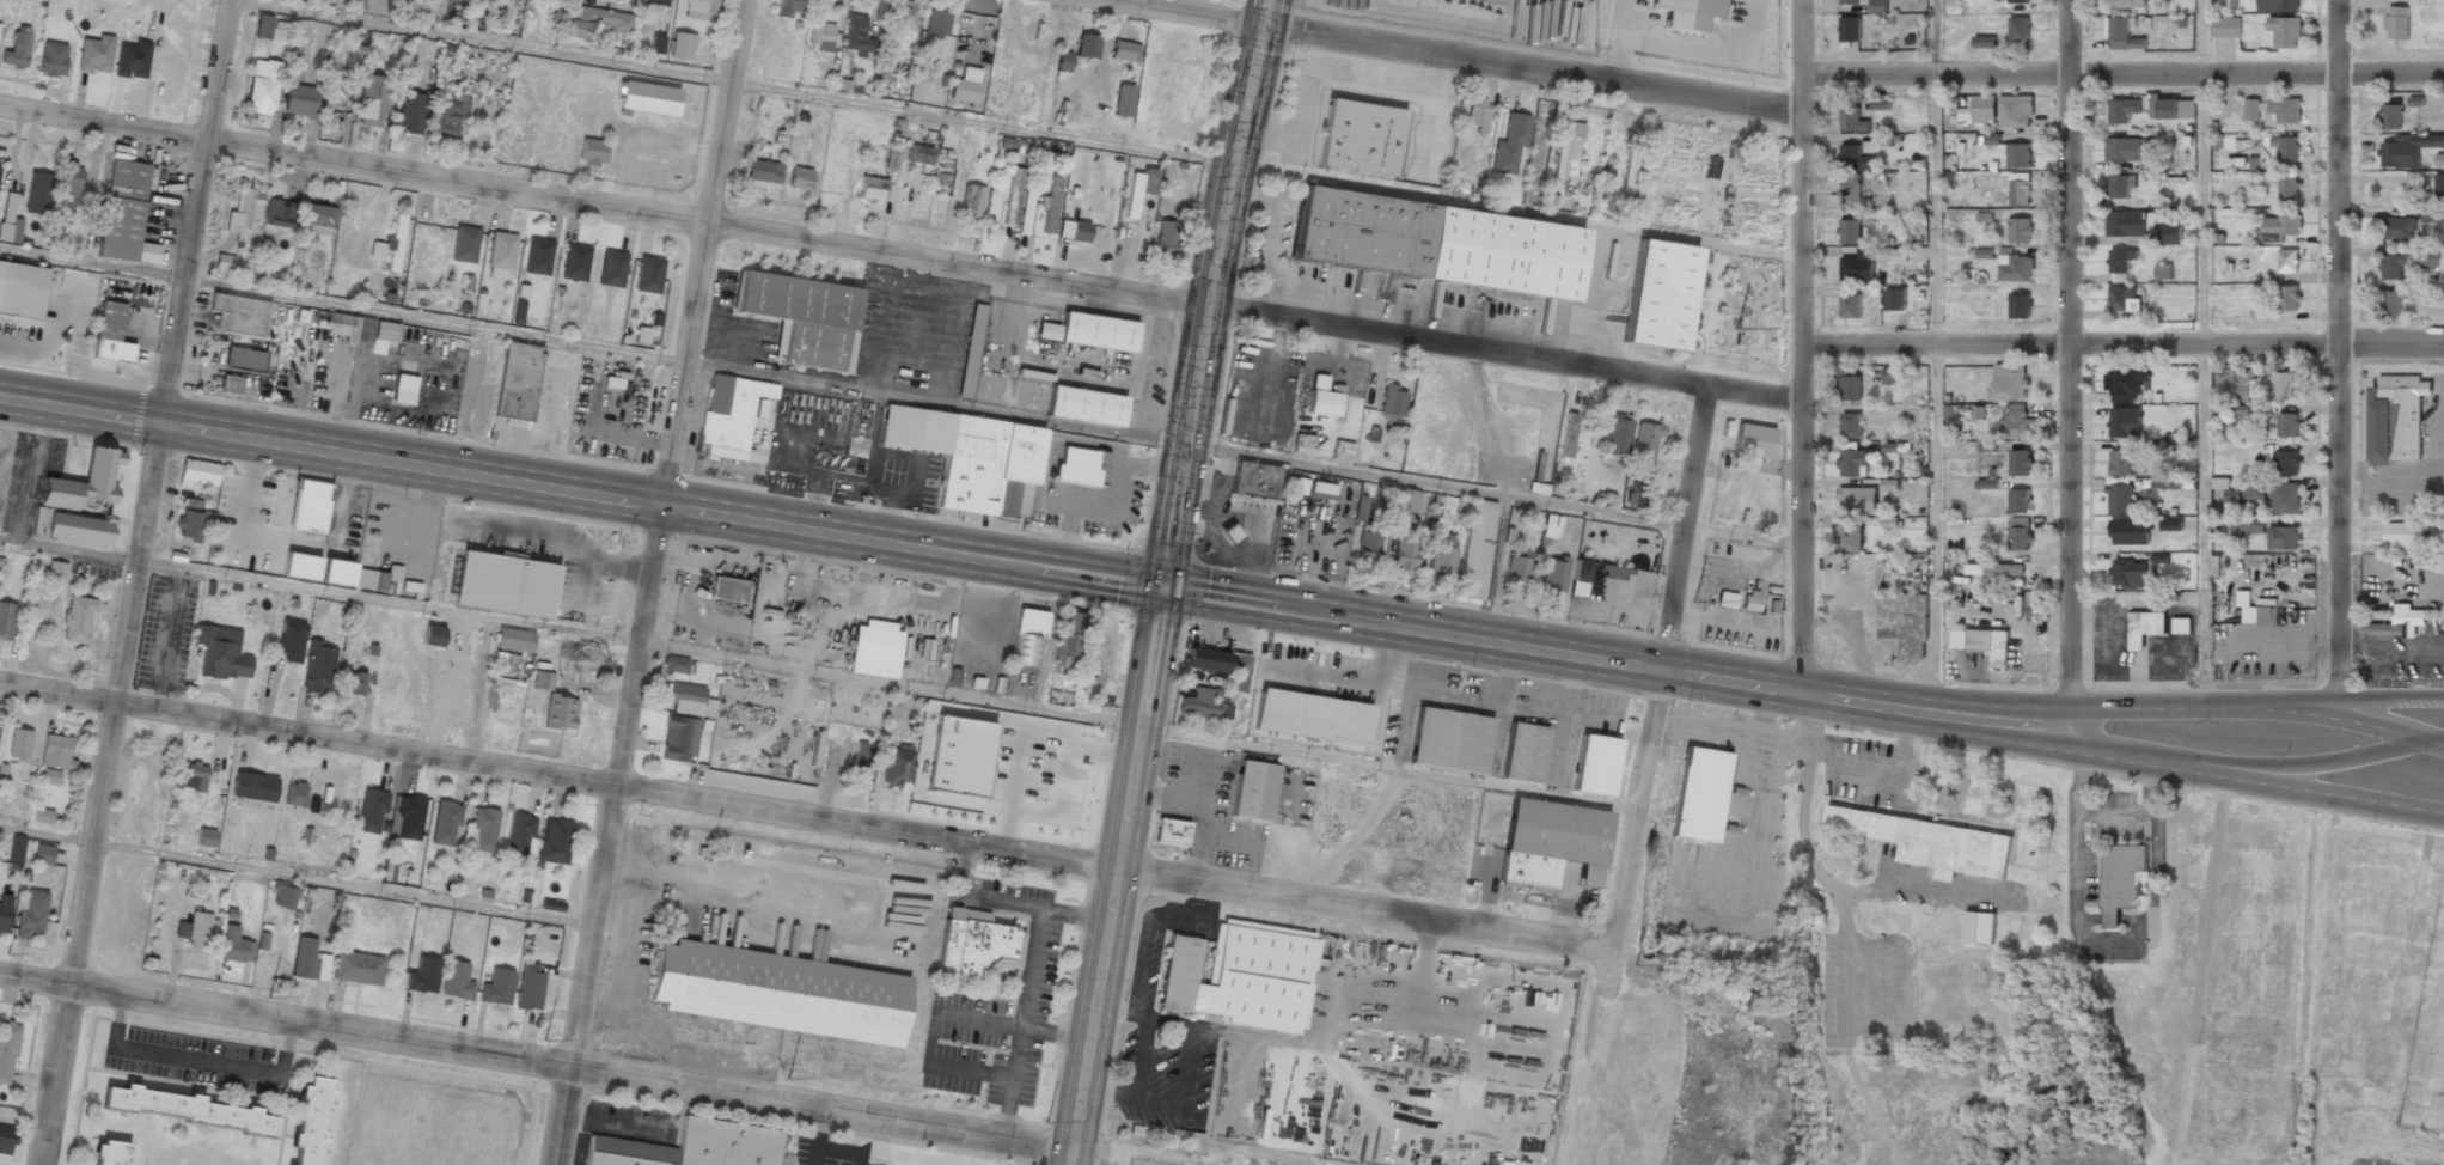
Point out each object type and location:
building: (470, 0)
building: (1850, 1)
building: (2018, 1)
building: (655, 2)
park: (1224, 2)
building: (2125, 4)
building: (2275, 5)
building: (1877, 6)
building: (792, 7)
building: (409, 8)
building: (699, 8)
building: (903, 13)
building: (1686, 14)
building: (593, 22)
building: (936, 23)
building: (2396, 23)
building: (0, 25)
traffic signals: (1263, 25)
building: (263, 26)
building: (2226, 26)
building: (1850, 29)
building: (2018, 30)
building: (2283, 32)
building: (2121, 33)
building: (856, 35)
building: (820, 36)
road: (1935, 37)
road: (2202, 37)
building: (1984, 42)
building: (656, 44)
building: (2018, 44)
building: (682, 45)
building: (1087, 45)
building: (17, 48)
building: (1124, 50)
building: (96, 54)
road: (1455, 56)
building: (53, 59)
building: (1062, 61)
road: (2122, 74)
road: (729, 79)
building: (965, 85)
building: (262, 86)
building: (648, 98)
building: (300, 100)
building: (372, 100)
building: (1122, 100)
building: (1880, 105)
building: (1974, 108)
building: (2173, 109)
building: (2251, 109)
building: (2121, 110)
building: (2284, 110)
building: (410, 111)
building: (2016, 112)
building: (446, 114)
building: (1475, 116)
building: (2390, 117)
building: (1852, 121)
building: (1360, 139)
building: (1508, 140)
building: (2285, 146)
building: (1565, 148)
building: (2407, 150)
building: (592, 151)
building: (2128, 151)
building: (918, 154)
building: (2017, 155)
building: (1853, 158)
building: (891, 159)
building: (762, 171)
building: (799, 178)
building: (69, 179)
building: (2287, 185)
building: (2439, 187)
building: (2119, 188)
building: (870, 189)
building: (1138, 189)
building: (38, 193)
building: (1850, 193)
building: (2018, 194)
building: (1013, 196)
building: (971, 201)
building: (1049, 206)
building: (244, 209)
road: (1937, 209)
road: (2202, 209)
building: (122, 211)
road: (1516, 211)
building: (279, 213)
building: (317, 215)
building: (2432, 215)
building: (10, 220)
building: (2126, 224)
building: (2280, 224)
building: (2397, 230)
building: (1073, 231)
building: (1850, 231)
building: (2020, 231)
building: (2170, 234)
building: (1165, 238)
building: (464, 244)
building: (1434, 244)
building: (390, 245)
building: (501, 255)
building: (538, 256)
road: (900, 256)
building: (2287, 261)
building: (224, 262)
building: (575, 262)
building: (2119, 263)
building: (2405, 263)
building: (1858, 266)
building: (611, 268)
building: (2015, 268)
building: (2163, 270)
building: (648, 275)
building: (22, 291)
building: (1657, 295)
building: (2287, 298)
building: (2121, 299)
building: (1893, 300)
road: (344, 304)
building: (2391, 305)
building: (2018, 306)
building: (1850, 307)
building: (518, 311)
building: (238, 313)
building: (800, 317)
power tower: (1925, 328)
power tower: (2192, 328)
power tower: (1735, 329)
building: (363, 330)
building: (1089, 333)
building: (110, 335)
road: (2122, 344)
road: (1802, 346)
road: (2338, 347)
building: (971, 352)
building: (242, 361)
road: (2070, 374)
building: (1889, 377)
building: (1849, 383)
building: (2009, 383)
building: (2124, 383)
building: (230, 384)
building: (517, 385)
building: (2284, 386)
building: (403, 390)
building: (1320, 397)
building: (1392, 403)
building: (1084, 407)
building: (758, 408)
building: (2403, 413)
building: (729, 415)
building: (2124, 422)
building: (2017, 425)
building: (1850, 426)
building: (2287, 426)
building: (1617, 433)
building: (1566, 435)
building: (1644, 440)
building: (1752, 441)
building: (1302, 444)
building: (1342, 451)
road: (1246, 452)
building: (970, 455)
building: (2020, 462)
building: (1851, 463)
building: (2121, 463)
building: (2285, 463)
building: (1075, 466)
building: (198, 474)
building: (1253, 481)
building: (84, 483)
building: (1987, 484)
building: (1299, 486)
building: (1321, 489)
building: (2255, 489)
building: (1637, 493)
building: (2231, 495)
building: (2121, 498)
building: (2284, 498)
building: (1856, 500)
building: (1406, 501)
building: (2018, 501)
building: (308, 507)
building: (2171, 525)
building: (2247, 525)
building: (188, 526)
building: (1551, 526)
road: (2204, 526)
road: (1936, 529)
building: (77, 531)
building: (1367, 531)
building: (2130, 531)
building: (1228, 533)
building: (2018, 535)
building: (2403, 535)
building: (2283, 537)
building: (1849, 539)
building: (1474, 550)
building: (1404, 553)
building: (1442, 555)
building: (2159, 559)
road: (1007, 562)
building: (300, 566)
building: (1514, 569)
building: (1994, 569)
building: (56, 571)
building: (1580, 571)
building: (337, 573)
building: (393, 573)
building: (2130, 574)
building: (1605, 575)
building: (1552, 577)
building: (369, 579)
road: (1161, 580)
road: (648, 581)
road: (138, 582)
building: (505, 585)
traffic signals: (1161, 587)
building: (726, 590)
power tower: (1692, 602)
building: (1747, 604)
building: (2267, 617)
building: (78, 618)
building: (6, 620)
building: (1905, 623)
building: (2399, 623)
building: (2181, 626)
building: (2145, 627)
road: (570, 629)
building: (433, 635)
building: (1068, 635)
building: (1027, 638)
building: (291, 640)
building: (514, 640)
building: (1985, 644)
building: (874, 649)
building: (581, 651)
building: (221, 653)
building: (1205, 660)
building: (674, 664)
building: (318, 667)
road: (1660, 669)
building: (1238, 673)
building: (542, 681)
building: (353, 683)
road: (2353, 694)
building: (689, 700)
building: (1203, 706)
road: (2138, 708)
building: (560, 713)
building: (1310, 718)
road: (2356, 721)
building: (679, 738)
building: (1449, 740)
building: (19, 744)
road: (2079, 750)
building: (56, 752)
building: (1522, 754)
building: (958, 757)
building: (862, 763)
building: (1594, 766)
building: (896, 767)
road: (2298, 767)
building: (50, 776)
building: (190, 777)
building: (253, 786)
road: (2297, 788)
building: (1252, 792)
building: (294, 794)
building: (1699, 794)
building: (372, 810)
road: (806, 813)
building: (43, 816)
building: (409, 816)
building: (445, 823)
building: (484, 828)
building: (1169, 832)
building: (520, 835)
building: (204, 837)
building: (554, 841)
building: (1929, 842)
building: (1550, 843)
building: (16, 850)
building: (43, 854)
road: (295, 874)
building: (2121, 882)
building: (283, 895)
building: (551, 905)
building: (30, 914)
building: (1979, 928)
building: (197, 931)
building: (978, 944)
building: (234, 946)
power tower: (6, 953)
building: (308, 960)
power tower: (1633, 966)
building: (358, 968)
building: (423, 975)
building: (1238, 976)
building: (457, 981)
building: (528, 986)
building: (496, 987)
building: (778, 993)
power tower: (267, 996)
power tower: (543, 1039)
building: (7, 1050)
road: (536, 1063)
power tower: (786, 1078)
building: (188, 1111)
road: (24, 1118)
building: (310, 1121)
power tower: (1045, 1122)
building: (6, 1139)
building: (688, 1147)
building: (109, 1153)

